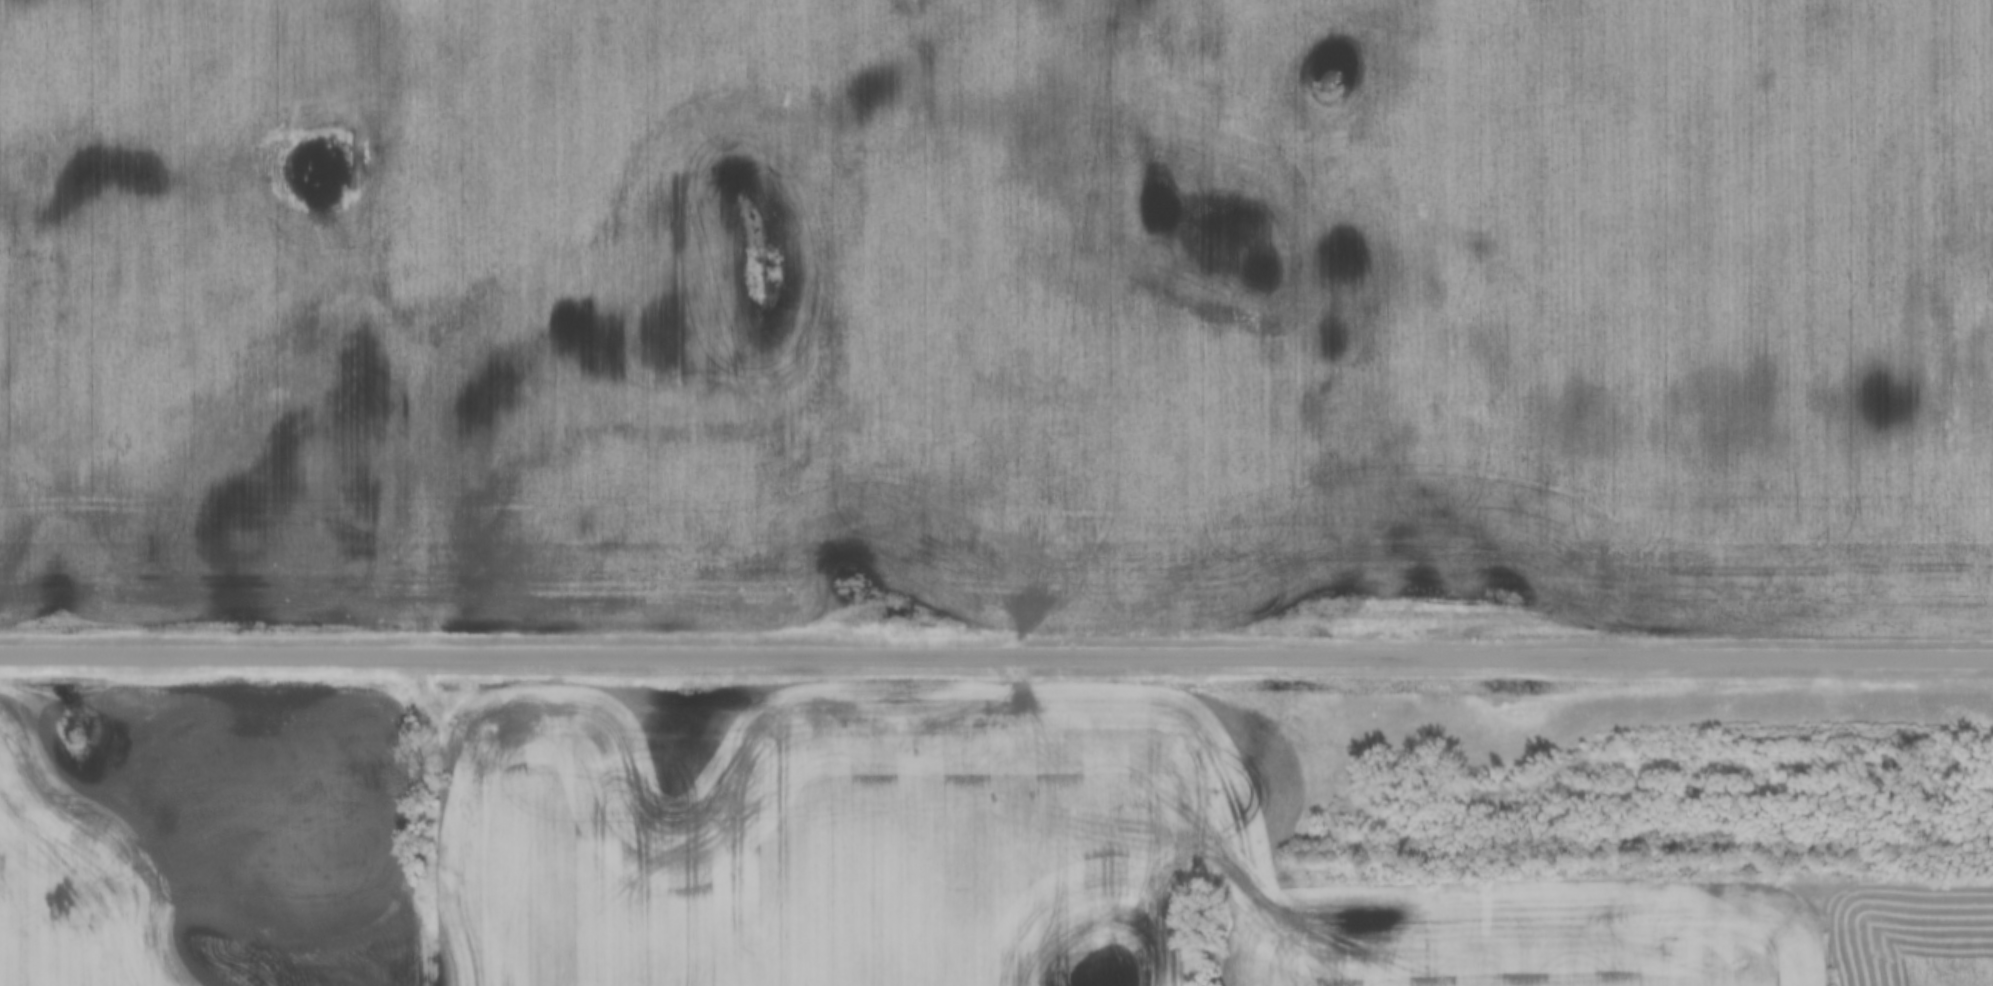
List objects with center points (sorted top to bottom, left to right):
road: (996, 653)

